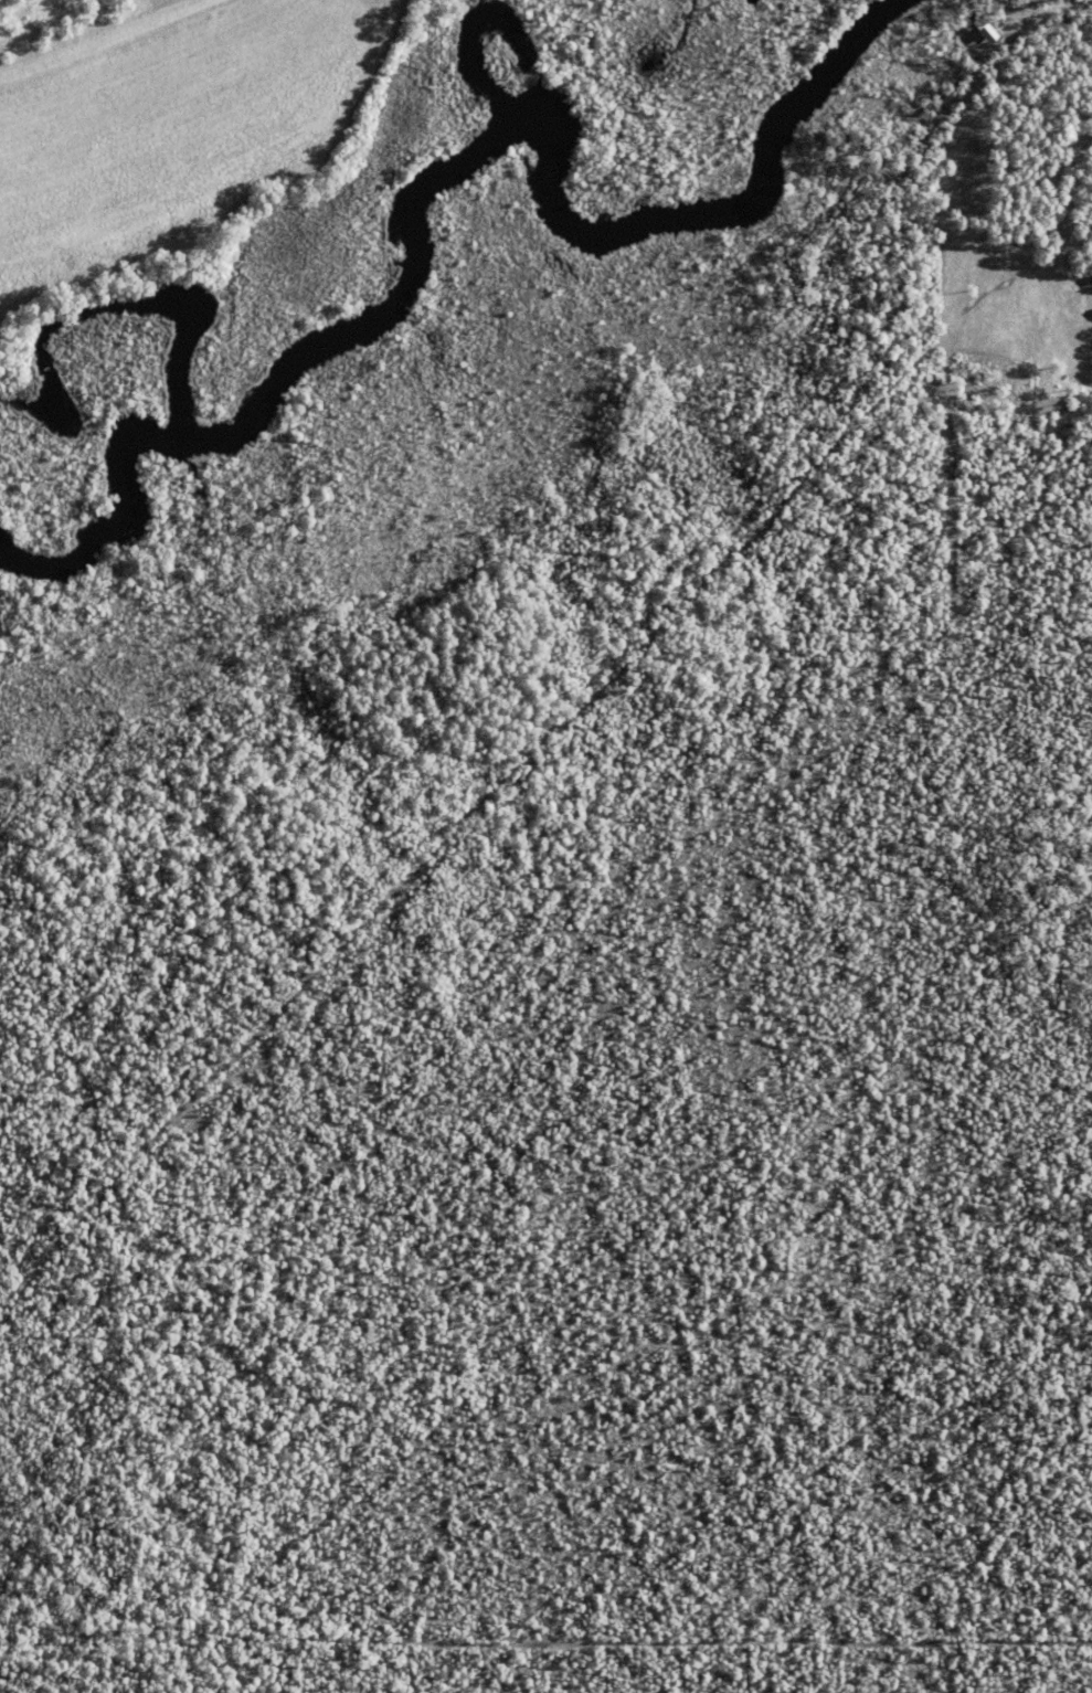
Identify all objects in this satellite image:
building: (986, 33)

